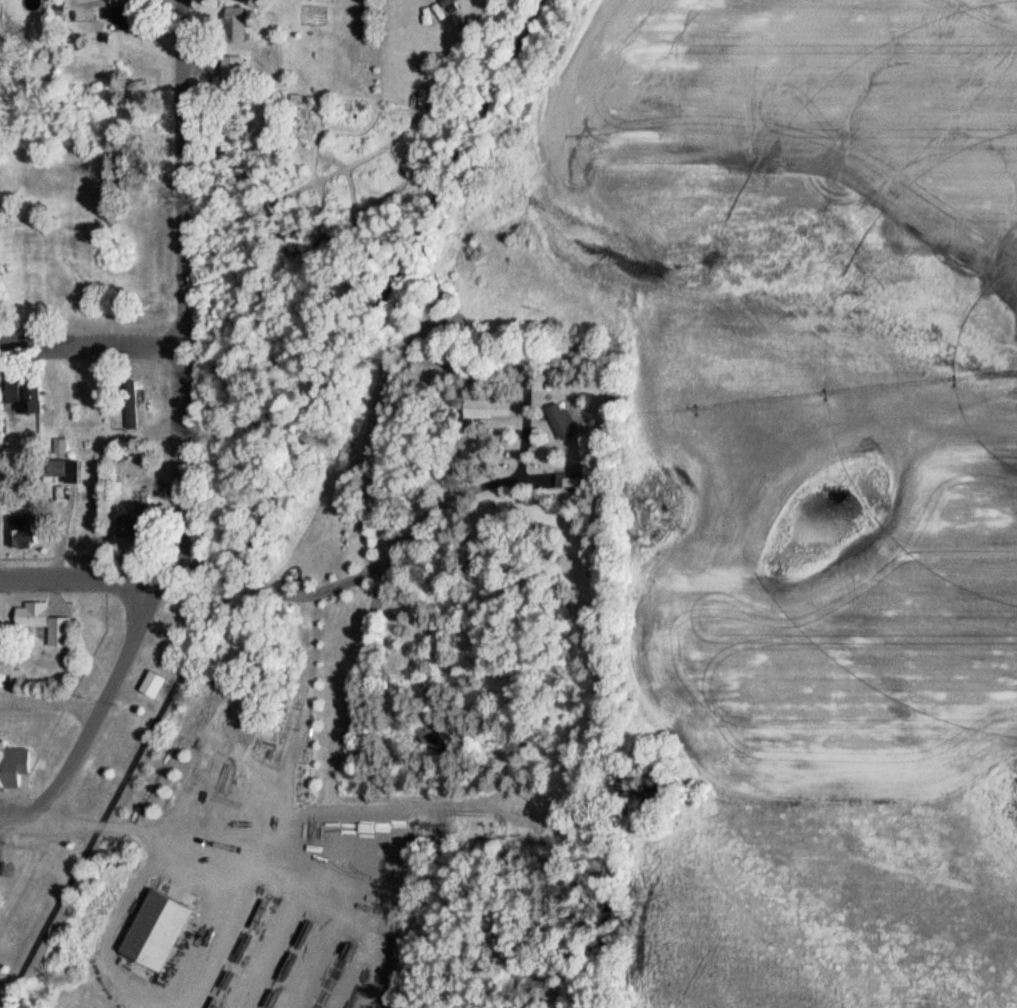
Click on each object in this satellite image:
building: (112, 15)
building: (231, 26)
building: (230, 72)
road: (183, 296)
road: (92, 344)
building: (23, 396)
building: (128, 405)
building: (485, 409)
building: (558, 417)
building: (51, 469)
road: (273, 504)
building: (121, 526)
building: (18, 531)
road: (80, 581)
building: (43, 622)
road: (103, 707)
building: (12, 765)
road: (72, 822)
building: (151, 931)

